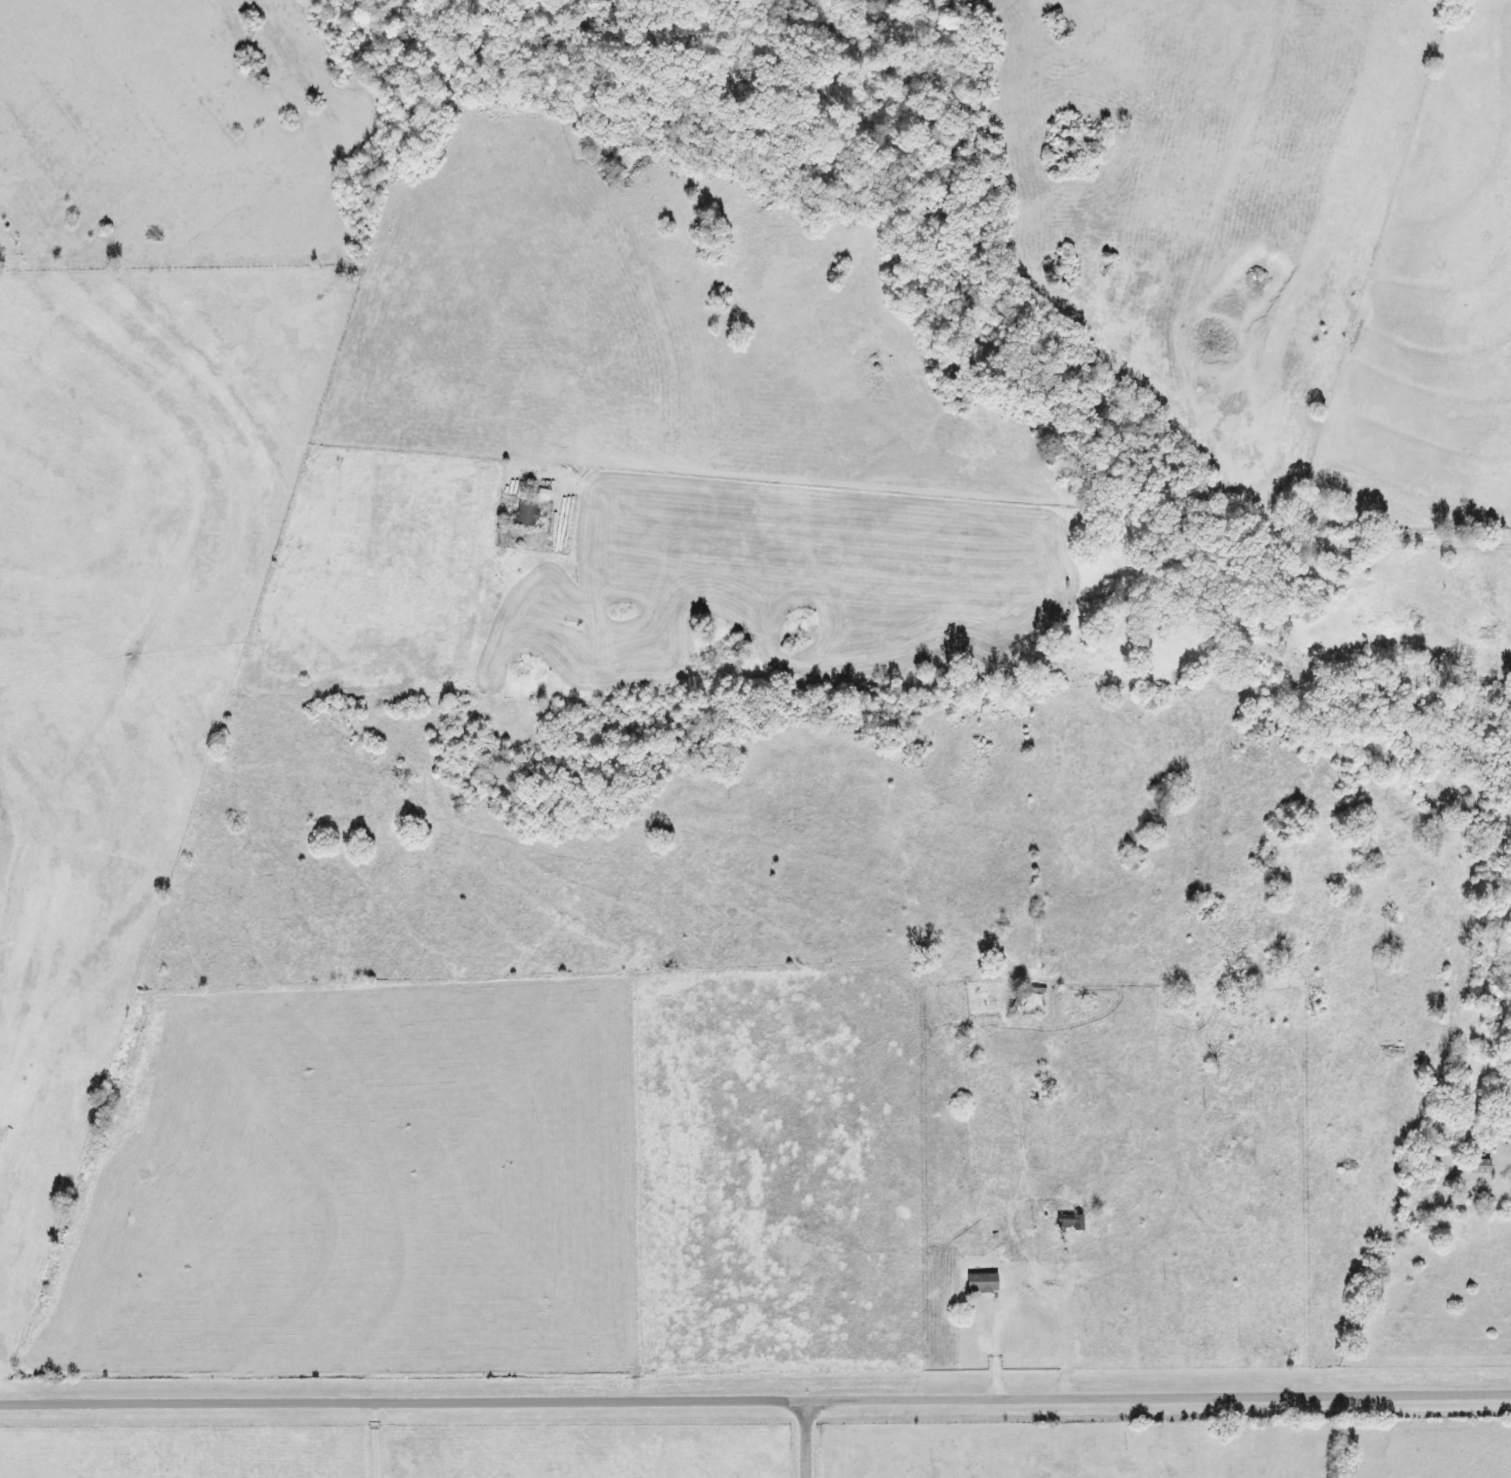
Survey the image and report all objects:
building: (519, 514)
road: (878, 632)
building: (1475, 1165)
building: (975, 1282)
road: (755, 1402)
road: (379, 1438)
road: (802, 1440)

